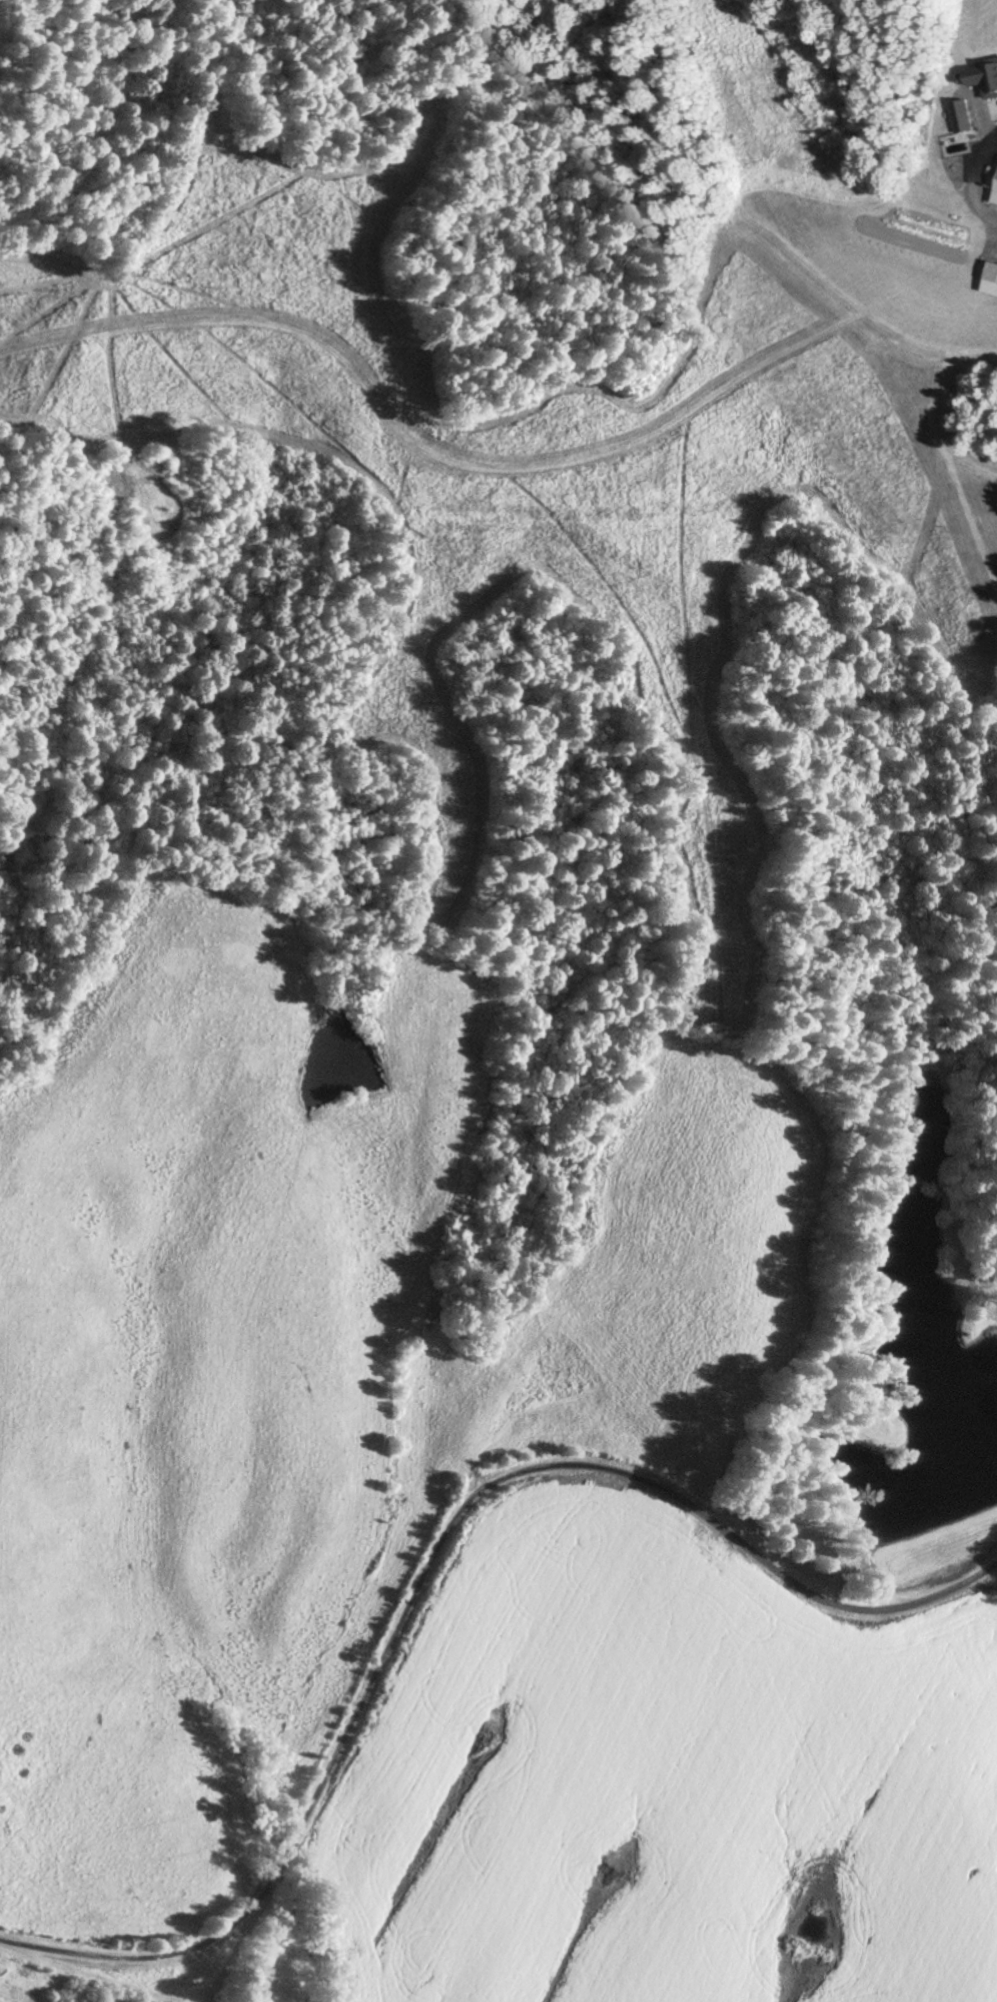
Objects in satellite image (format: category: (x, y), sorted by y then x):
building: (984, 78)
building: (963, 117)
building: (995, 198)
building: (990, 281)
road: (433, 1562)

